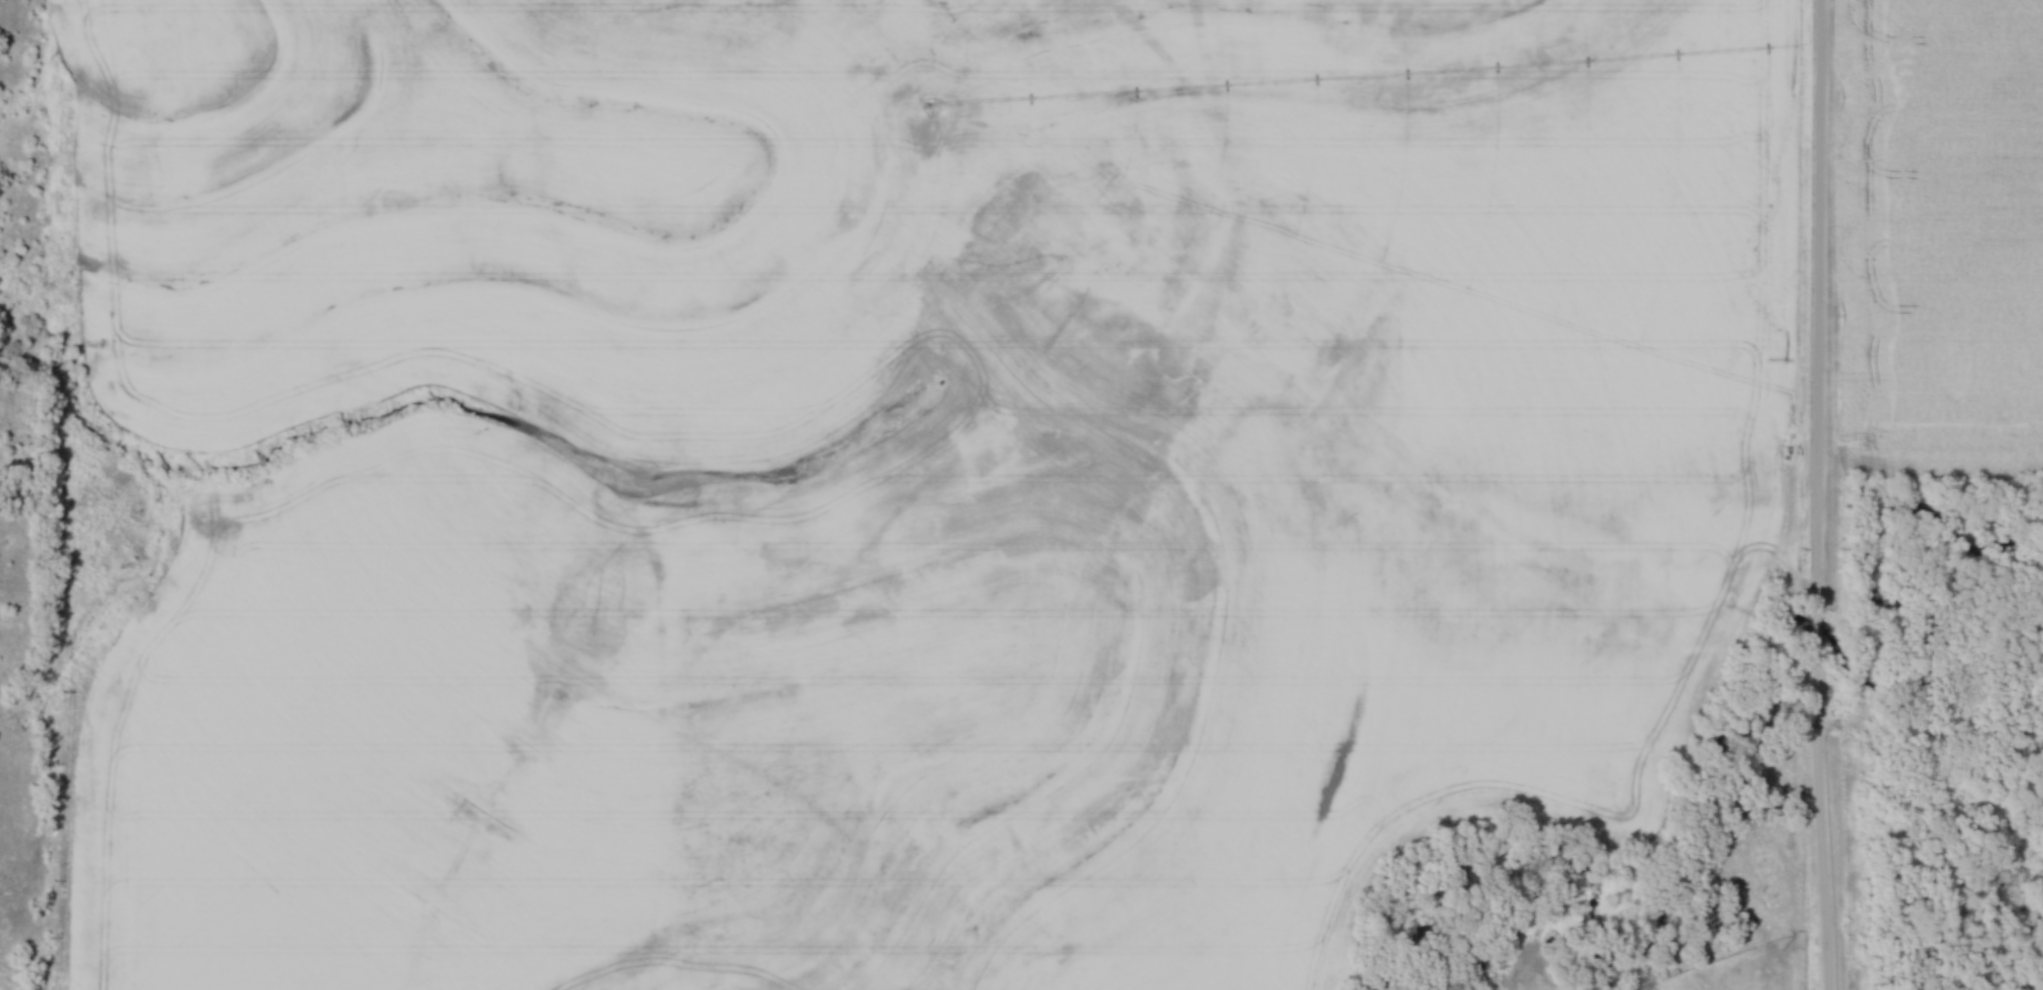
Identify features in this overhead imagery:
road: (1818, 495)

